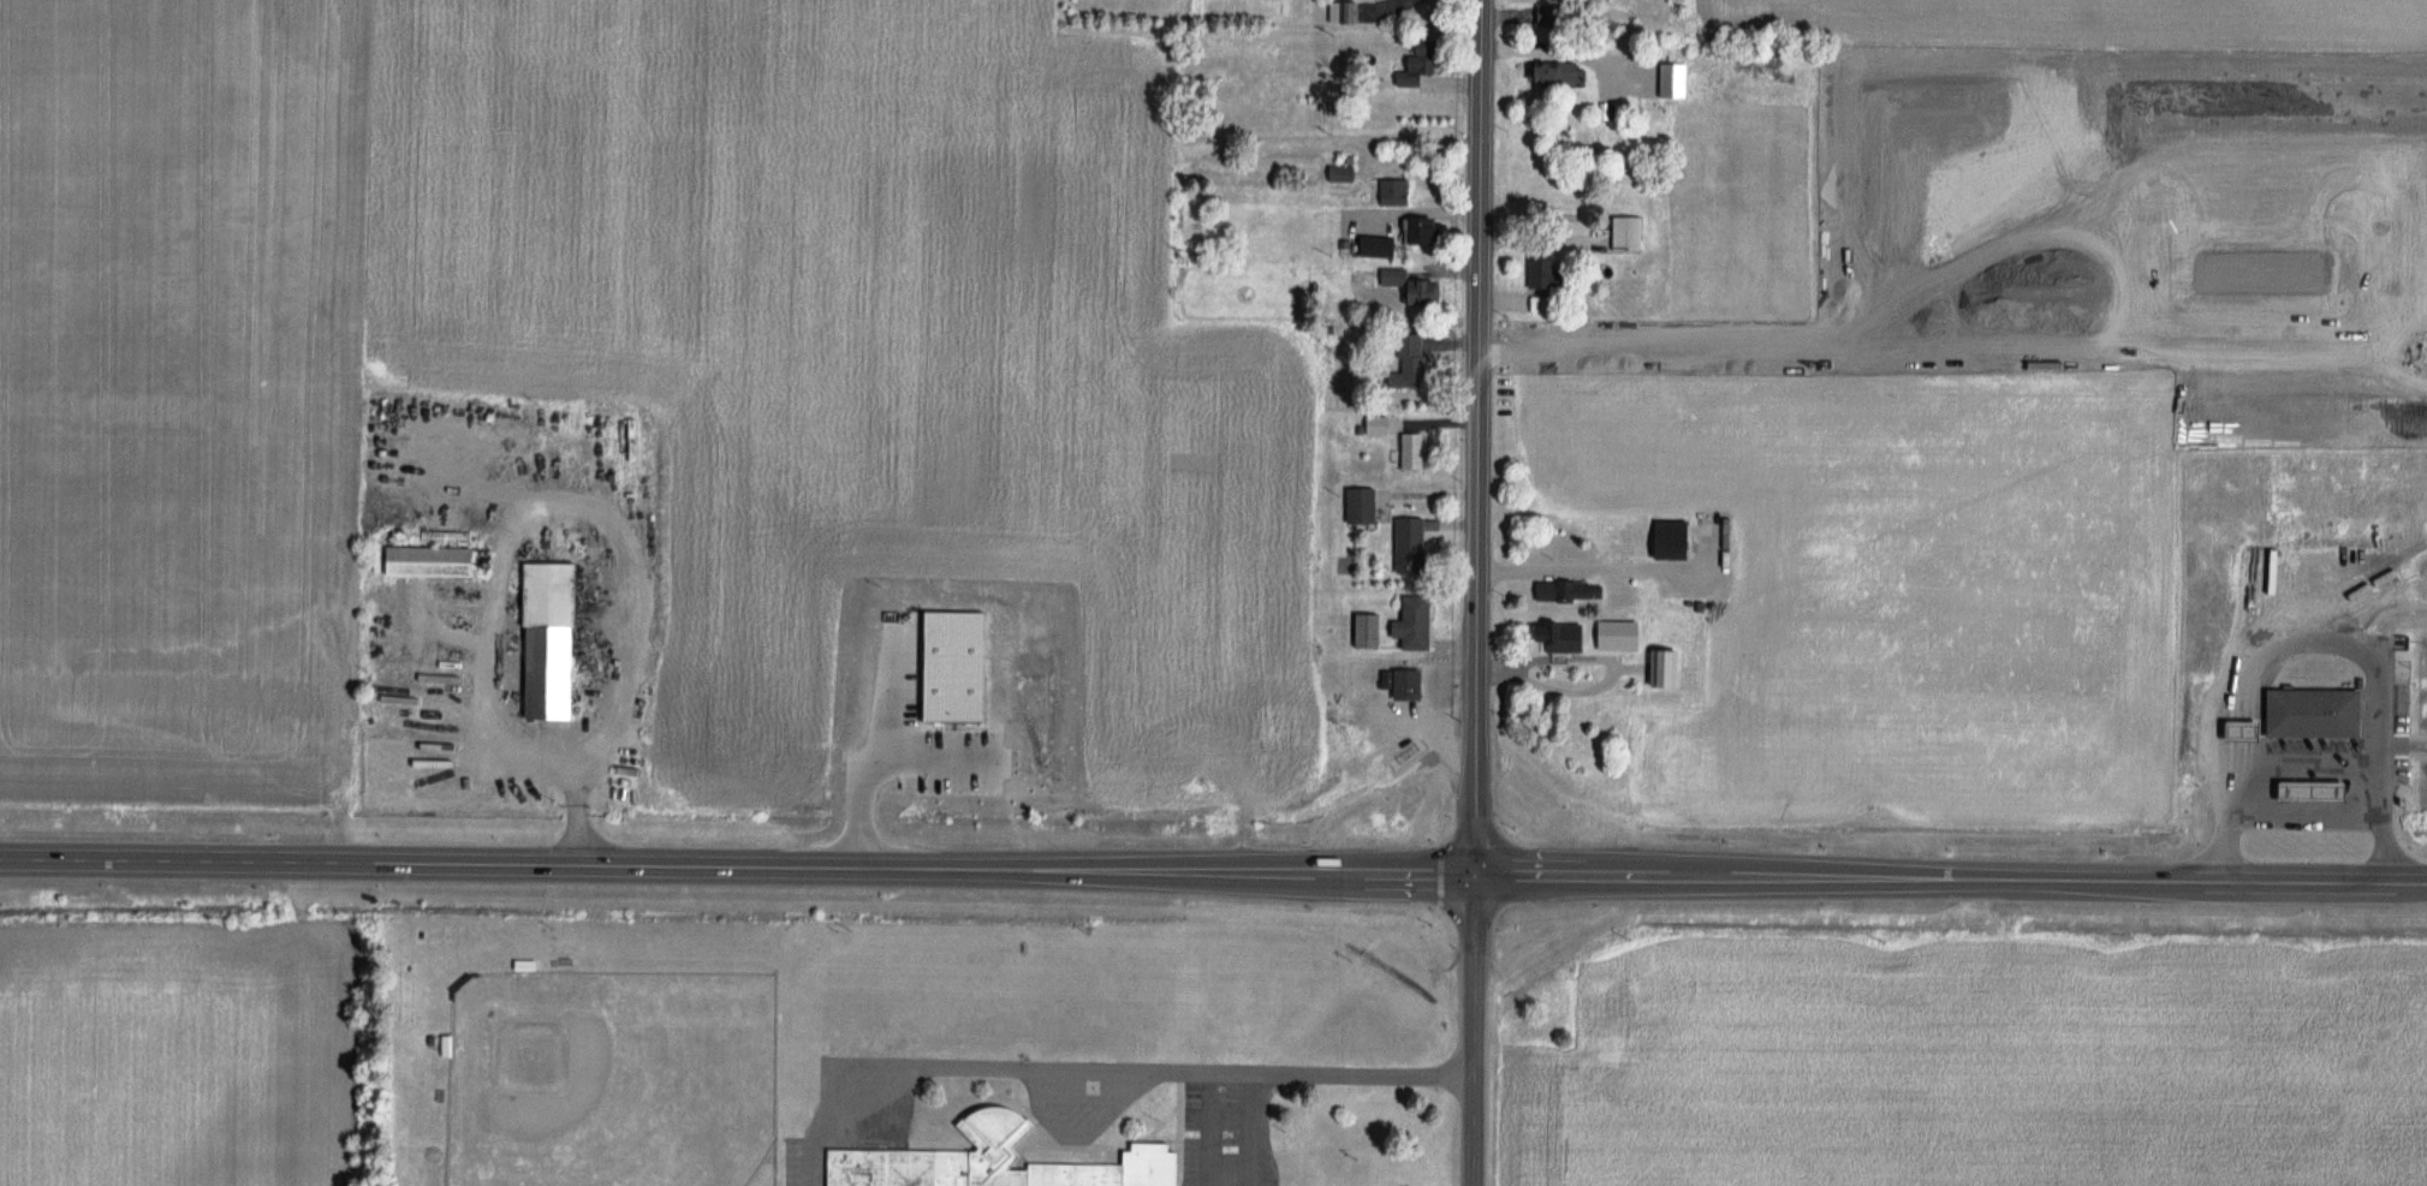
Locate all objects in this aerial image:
building: (1622, 1)
building: (1346, 13)
building: (1553, 16)
building: (1420, 64)
building: (1563, 72)
building: (1345, 173)
building: (1397, 191)
building: (1418, 231)
building: (1632, 233)
building: (1379, 245)
building: (1548, 269)
building: (1411, 286)
building: (1415, 357)
building: (1378, 424)
road: (1477, 436)
building: (1414, 449)
road: (588, 505)
building: (1362, 505)
building: (1674, 538)
building: (1412, 544)
building: (436, 561)
building: (2270, 562)
road: (1576, 567)
building: (1570, 590)
road: (2387, 619)
building: (1418, 621)
building: (1369, 628)
building: (1564, 637)
building: (555, 639)
road: (2369, 666)
building: (1409, 684)
road: (1598, 684)
building: (2304, 714)
building: (2229, 732)
road: (2403, 744)
road: (2298, 764)
building: (2300, 792)
road: (2225, 848)
road: (2381, 851)
road: (1213, 872)
traffic signals: (1470, 874)
road: (1469, 1029)
road: (1095, 1074)
park: (625, 1102)
parking lot: (1078, 1114)
parking lot: (862, 1122)
road: (1214, 1131)
road: (1250, 1131)
parking lot: (1232, 1136)
building: (1000, 1160)

